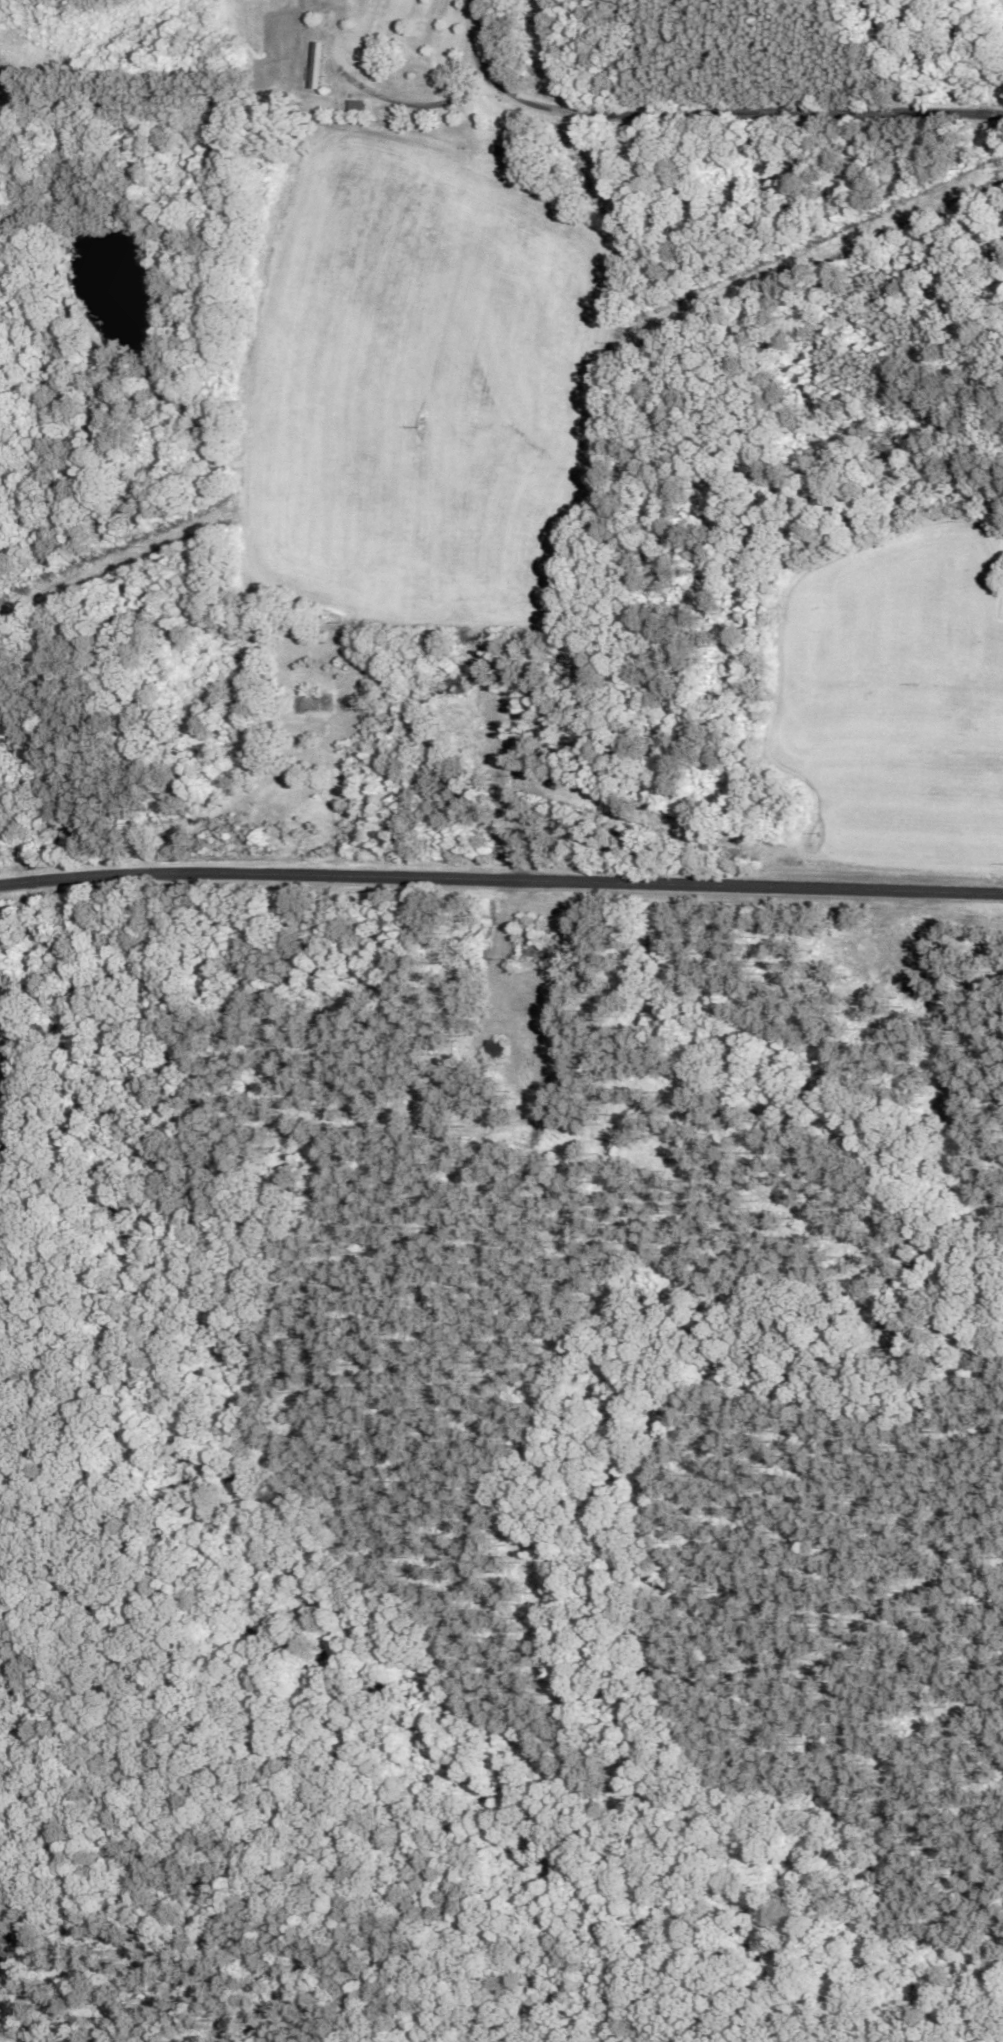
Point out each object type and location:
road: (383, 92)
building: (356, 110)
road: (699, 116)
building: (451, 683)
building: (312, 707)
road: (528, 882)
road: (27, 885)
building: (497, 1054)
building: (11, 1151)

